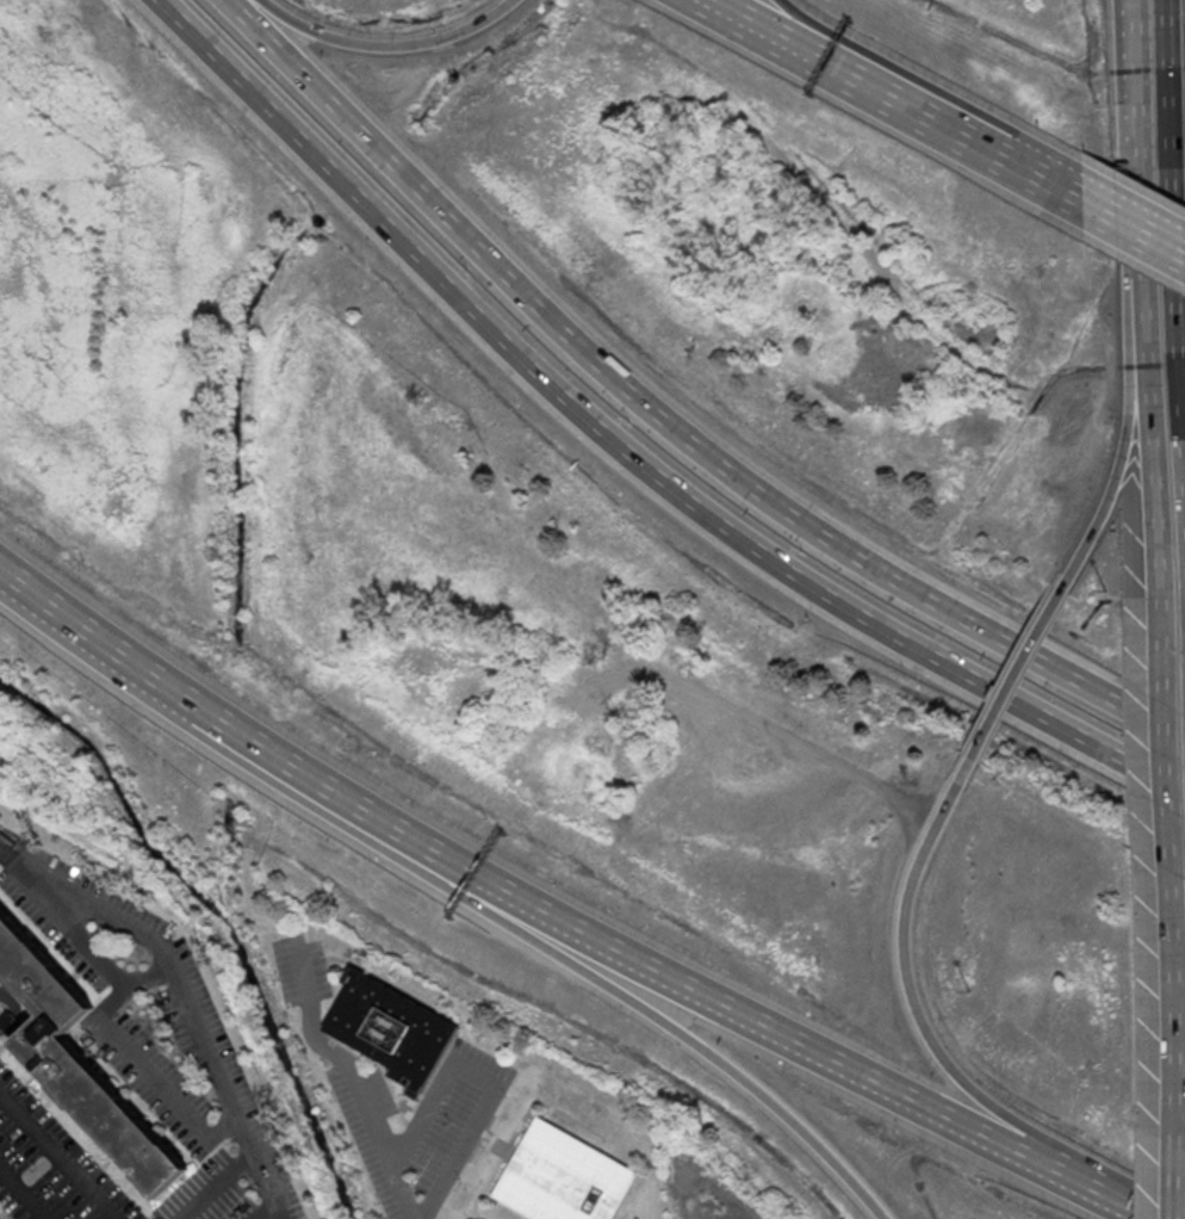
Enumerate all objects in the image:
road: (715, 4)
road: (386, 44)
road: (291, 62)
road: (862, 81)
road: (888, 81)
road: (244, 82)
road: (1134, 137)
river: (366, 167)
road: (1042, 178)
road: (1134, 227)
road: (1172, 231)
road: (1125, 439)
road: (1148, 456)
road: (737, 475)
road: (724, 522)
road: (93, 633)
road: (1016, 673)
road: (1164, 751)
road: (595, 935)
road: (547, 945)
road: (901, 961)
road: (188, 1000)
road: (1171, 1004)
road: (106, 1010)
building: (390, 1028)
building: (82, 1062)
road: (352, 1076)
road: (57, 1156)
building: (562, 1177)
road: (1081, 1180)
road: (1172, 1181)
road: (219, 1184)
road: (23, 1193)
road: (281, 1211)
road: (1152, 1215)
road: (1153, 1215)

